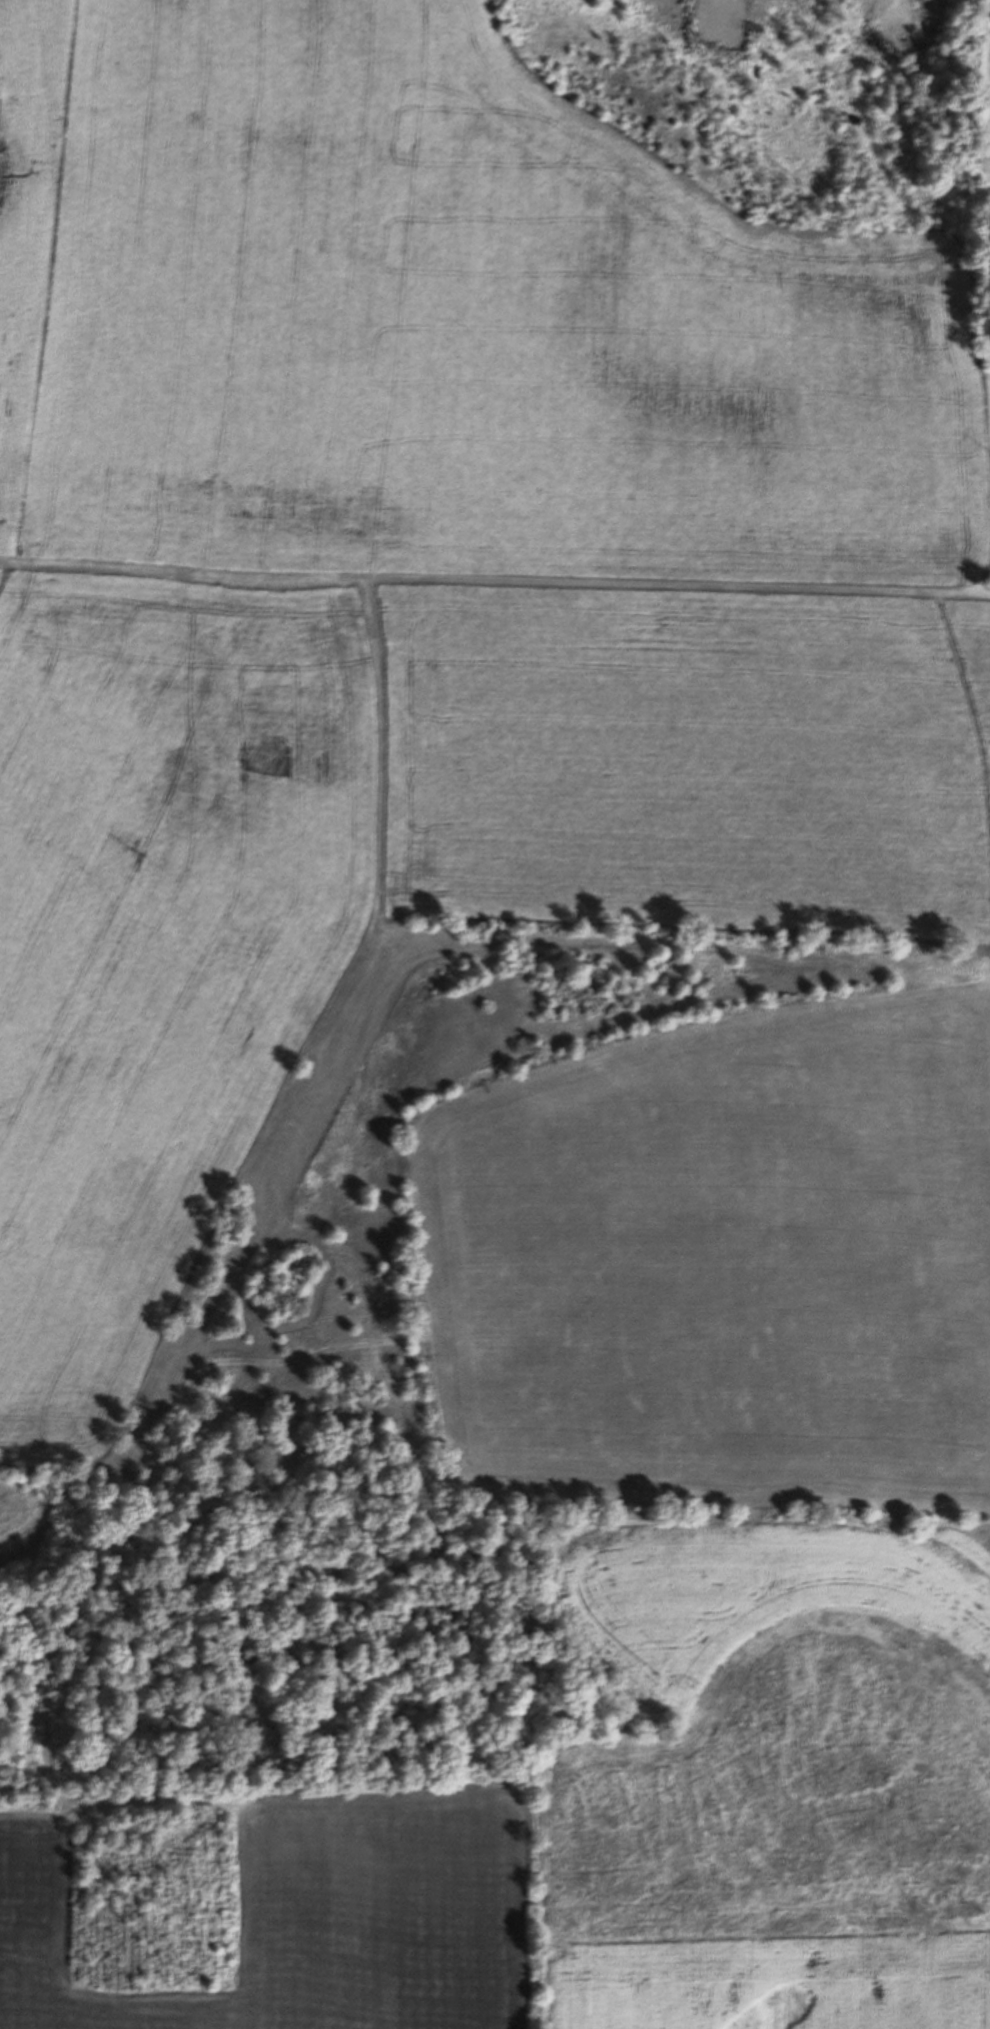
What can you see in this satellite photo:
park: (987, 323)
crop: (761, 790)

